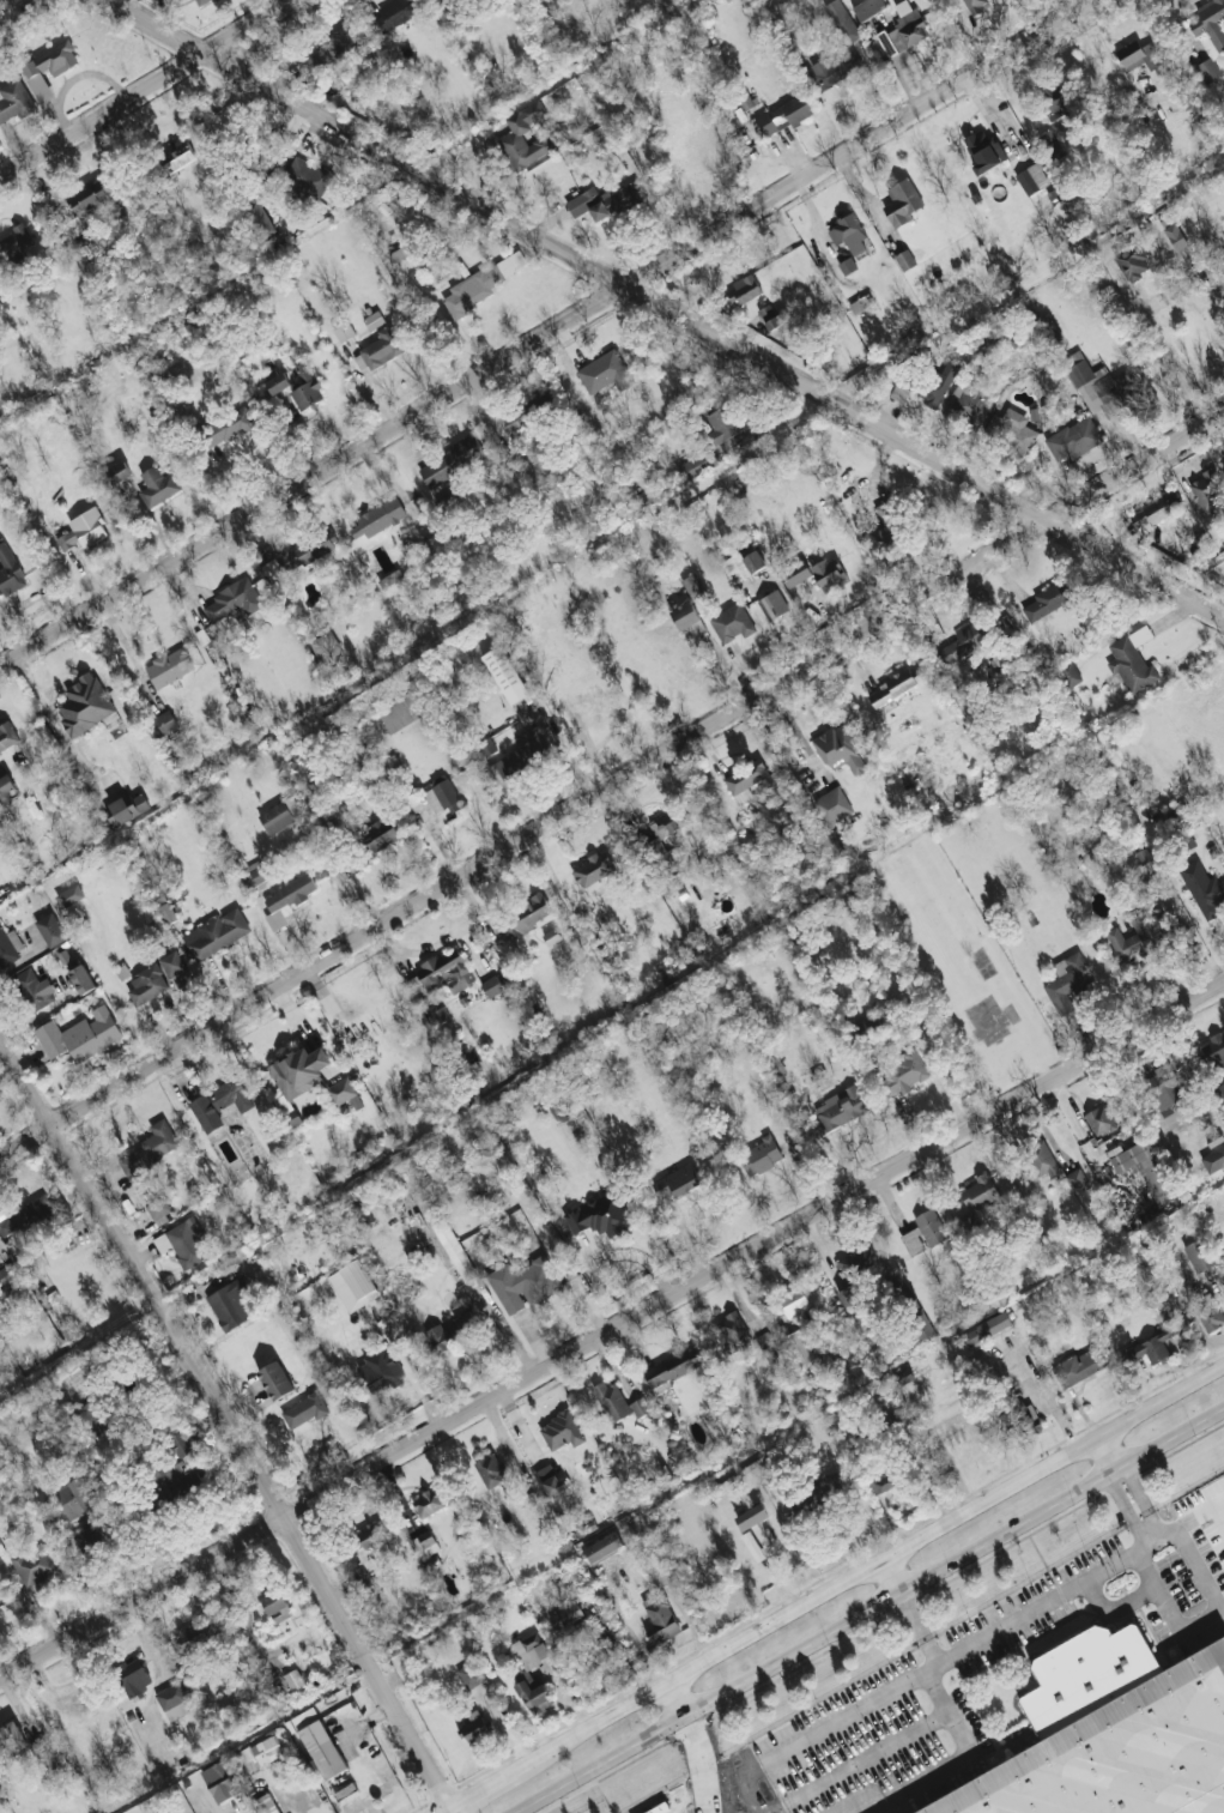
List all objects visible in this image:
building: (201, 2)
building: (975, 5)
building: (867, 7)
building: (395, 13)
building: (842, 20)
building: (1208, 25)
building: (902, 30)
building: (329, 49)
building: (1137, 55)
building: (57, 58)
building: (832, 68)
building: (1207, 70)
road: (146, 89)
building: (14, 101)
building: (1058, 102)
building: (784, 115)
building: (513, 135)
building: (1052, 145)
building: (983, 149)
building: (176, 155)
building: (308, 174)
building: (1032, 179)
building: (89, 197)
building: (602, 200)
building: (902, 201)
building: (260, 216)
building: (848, 234)
building: (1175, 236)
building: (16, 244)
building: (904, 260)
building: (1132, 264)
building: (847, 266)
building: (480, 284)
building: (744, 290)
road: (667, 306)
building: (774, 315)
building: (372, 320)
building: (1048, 328)
building: (343, 331)
road: (549, 334)
building: (381, 349)
building: (604, 368)
road: (1177, 375)
building: (940, 381)
building: (277, 382)
building: (1099, 385)
building: (305, 387)
building: (968, 404)
building: (722, 424)
building: (229, 427)
building: (1074, 439)
building: (1223, 459)
building: (450, 461)
building: (696, 465)
building: (119, 472)
building: (158, 484)
building: (1207, 490)
building: (377, 518)
building: (886, 522)
building: (89, 527)
building: (66, 540)
building: (297, 561)
building: (741, 564)
building: (8, 572)
building: (826, 573)
building: (795, 574)
building: (692, 585)
building: (232, 600)
building: (1048, 602)
building: (772, 604)
building: (687, 621)
building: (732, 622)
building: (961, 645)
building: (326, 647)
building: (1132, 660)
building: (169, 666)
building: (1068, 672)
building: (505, 675)
building: (891, 689)
building: (84, 705)
road: (44, 707)
building: (400, 711)
building: (165, 721)
building: (7, 735)
building: (487, 747)
building: (838, 750)
building: (520, 756)
building: (390, 765)
road: (612, 787)
building: (6, 788)
building: (740, 791)
building: (441, 796)
building: (292, 805)
building: (832, 805)
building: (127, 809)
building: (275, 818)
building: (380, 834)
building: (592, 870)
building: (257, 871)
road: (341, 887)
building: (1201, 888)
building: (69, 896)
building: (287, 900)
building: (526, 914)
building: (49, 929)
building: (218, 932)
building: (1138, 933)
building: (10, 945)
building: (175, 969)
building: (441, 974)
building: (81, 979)
building: (1067, 981)
building: (145, 985)
building: (491, 986)
building: (30, 990)
building: (80, 1034)
building: (1216, 1052)
building: (903, 1070)
building: (296, 1078)
building: (1163, 1084)
building: (343, 1090)
building: (1219, 1093)
building: (230, 1094)
building: (840, 1108)
building: (206, 1113)
building: (1099, 1120)
building: (149, 1149)
building: (761, 1156)
building: (1040, 1159)
building: (1213, 1159)
building: (1143, 1167)
building: (1077, 1180)
building: (675, 1182)
building: (978, 1192)
building: (158, 1208)
building: (599, 1215)
building: (24, 1216)
building: (923, 1232)
building: (183, 1243)
building: (454, 1250)
building: (1199, 1255)
building: (846, 1265)
building: (523, 1283)
building: (353, 1286)
building: (849, 1299)
building: (794, 1301)
building: (232, 1304)
building: (1210, 1316)
building: (731, 1326)
building: (922, 1328)
building: (987, 1328)
road: (611, 1331)
building: (450, 1332)
building: (763, 1338)
building: (1151, 1347)
building: (798, 1348)
building: (672, 1366)
building: (1079, 1366)
building: (380, 1370)
building: (274, 1379)
road: (1050, 1398)
building: (611, 1401)
building: (640, 1407)
road: (222, 1409)
building: (303, 1410)
building: (91, 1418)
building: (561, 1431)
road: (1107, 1456)
building: (178, 1468)
building: (491, 1469)
road: (1116, 1473)
building: (551, 1480)
building: (881, 1482)
building: (818, 1493)
road: (1144, 1501)
building: (428, 1503)
building: (83, 1510)
road: (1125, 1512)
building: (751, 1517)
building: (424, 1543)
road: (1152, 1543)
building: (752, 1546)
building: (602, 1548)
building: (366, 1552)
building: (650, 1560)
building: (34, 1565)
building: (435, 1566)
road: (890, 1579)
road: (831, 1591)
building: (275, 1606)
road: (868, 1612)
building: (565, 1615)
road: (1206, 1618)
building: (660, 1619)
road: (1002, 1627)
building: (192, 1639)
building: (531, 1650)
building: (595, 1657)
road: (926, 1672)
building: (469, 1675)
building: (293, 1680)
building: (533, 1691)
building: (172, 1700)
road: (673, 1703)
building: (473, 1727)
building: (1113, 1734)
road: (813, 1736)
building: (11, 1740)
building: (319, 1743)
building: (261, 1752)
road: (953, 1760)
road: (856, 1763)
building: (219, 1782)
road: (362, 1787)
road: (444, 1797)
road: (299, 1799)
building: (267, 1803)
road: (238, 1808)
road: (696, 1808)

